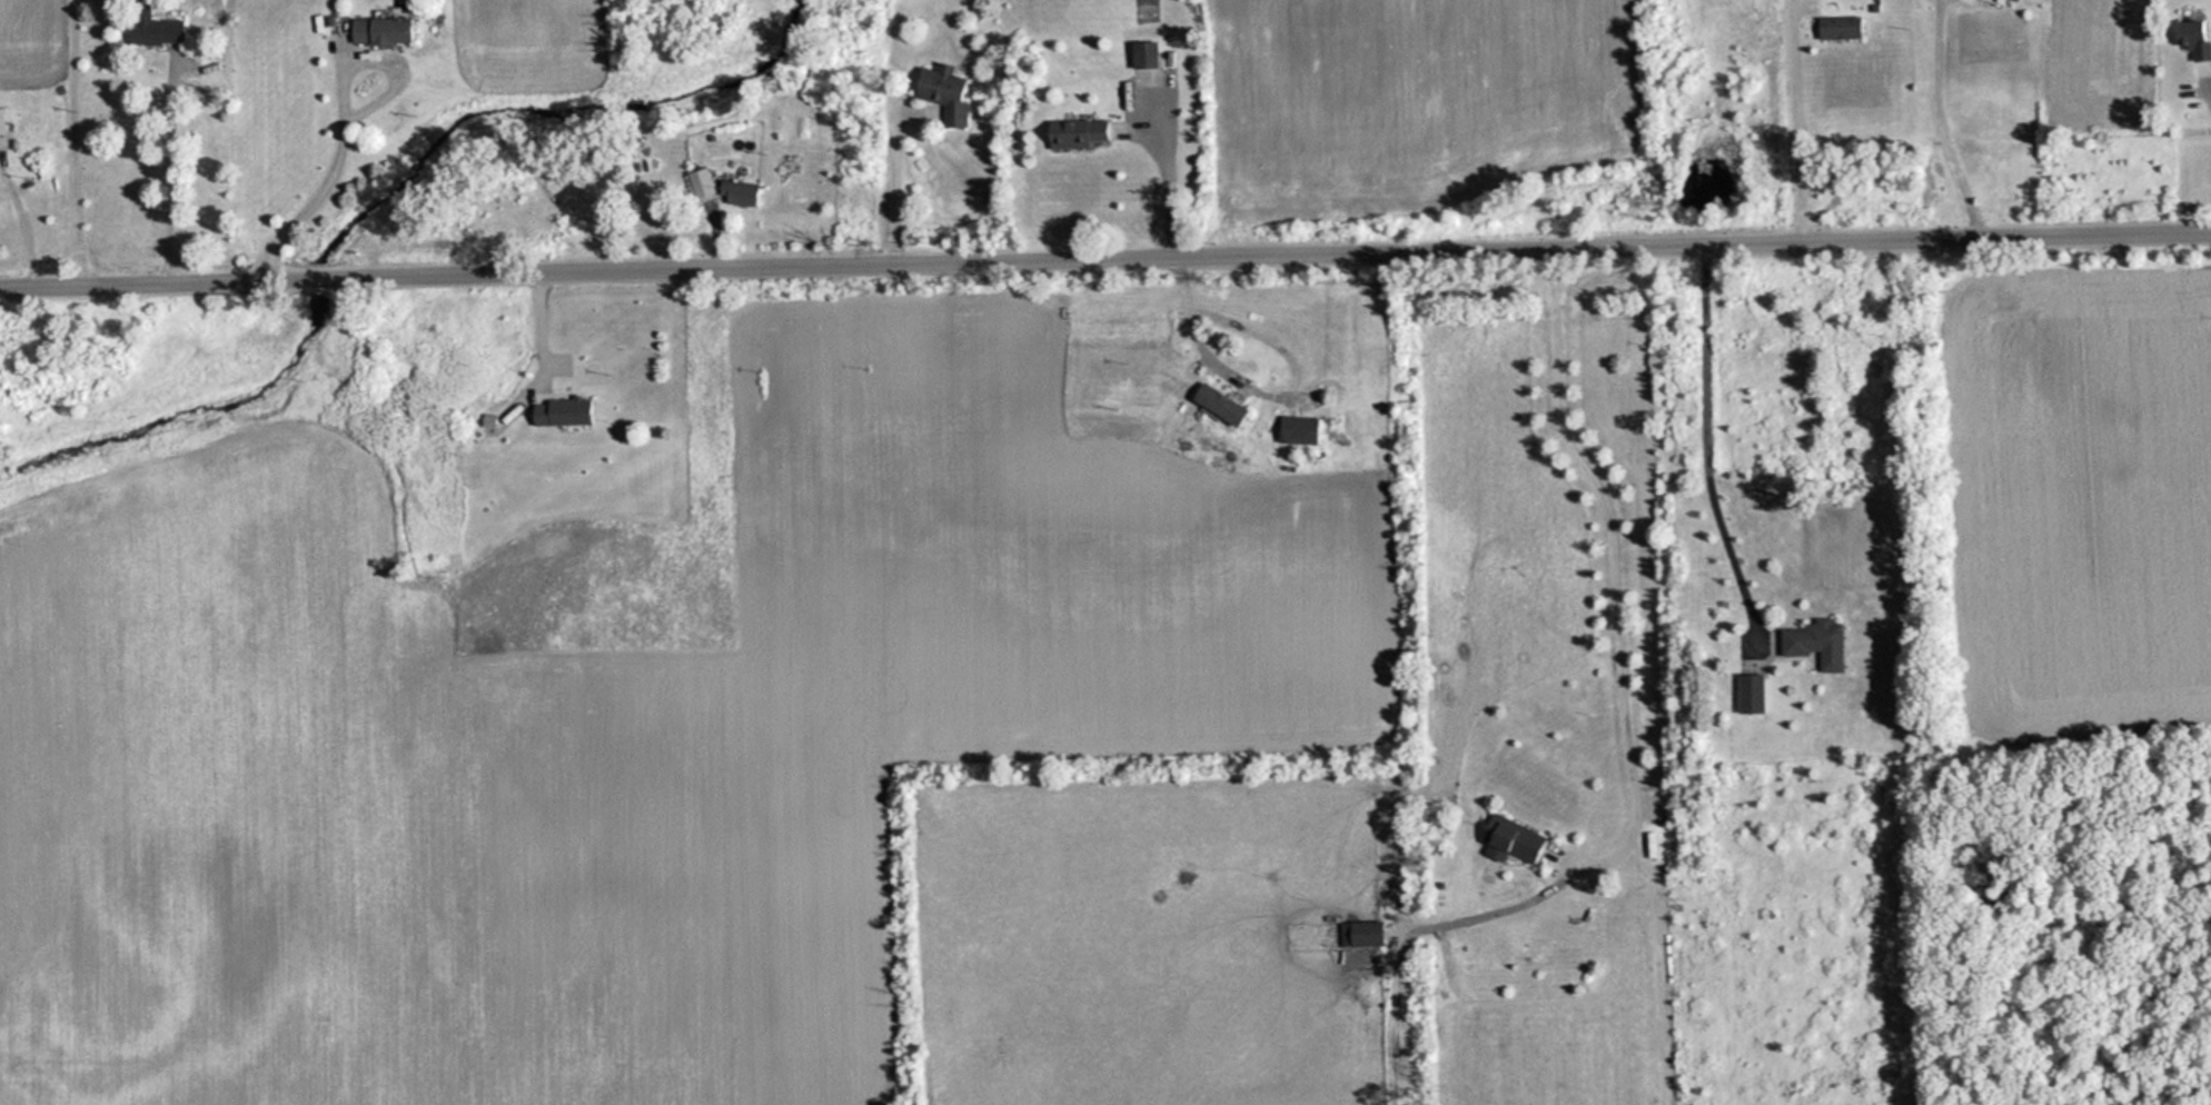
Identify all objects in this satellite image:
building: (2014, 0)
building: (1835, 28)
building: (377, 29)
building: (162, 30)
building: (2189, 37)
building: (1142, 52)
building: (941, 91)
building: (1075, 132)
building: (698, 181)
building: (735, 191)
road: (1105, 259)
building: (563, 326)
building: (1213, 404)
building: (1293, 429)
building: (1814, 641)
building: (1509, 838)
building: (1649, 845)
building: (1357, 934)

